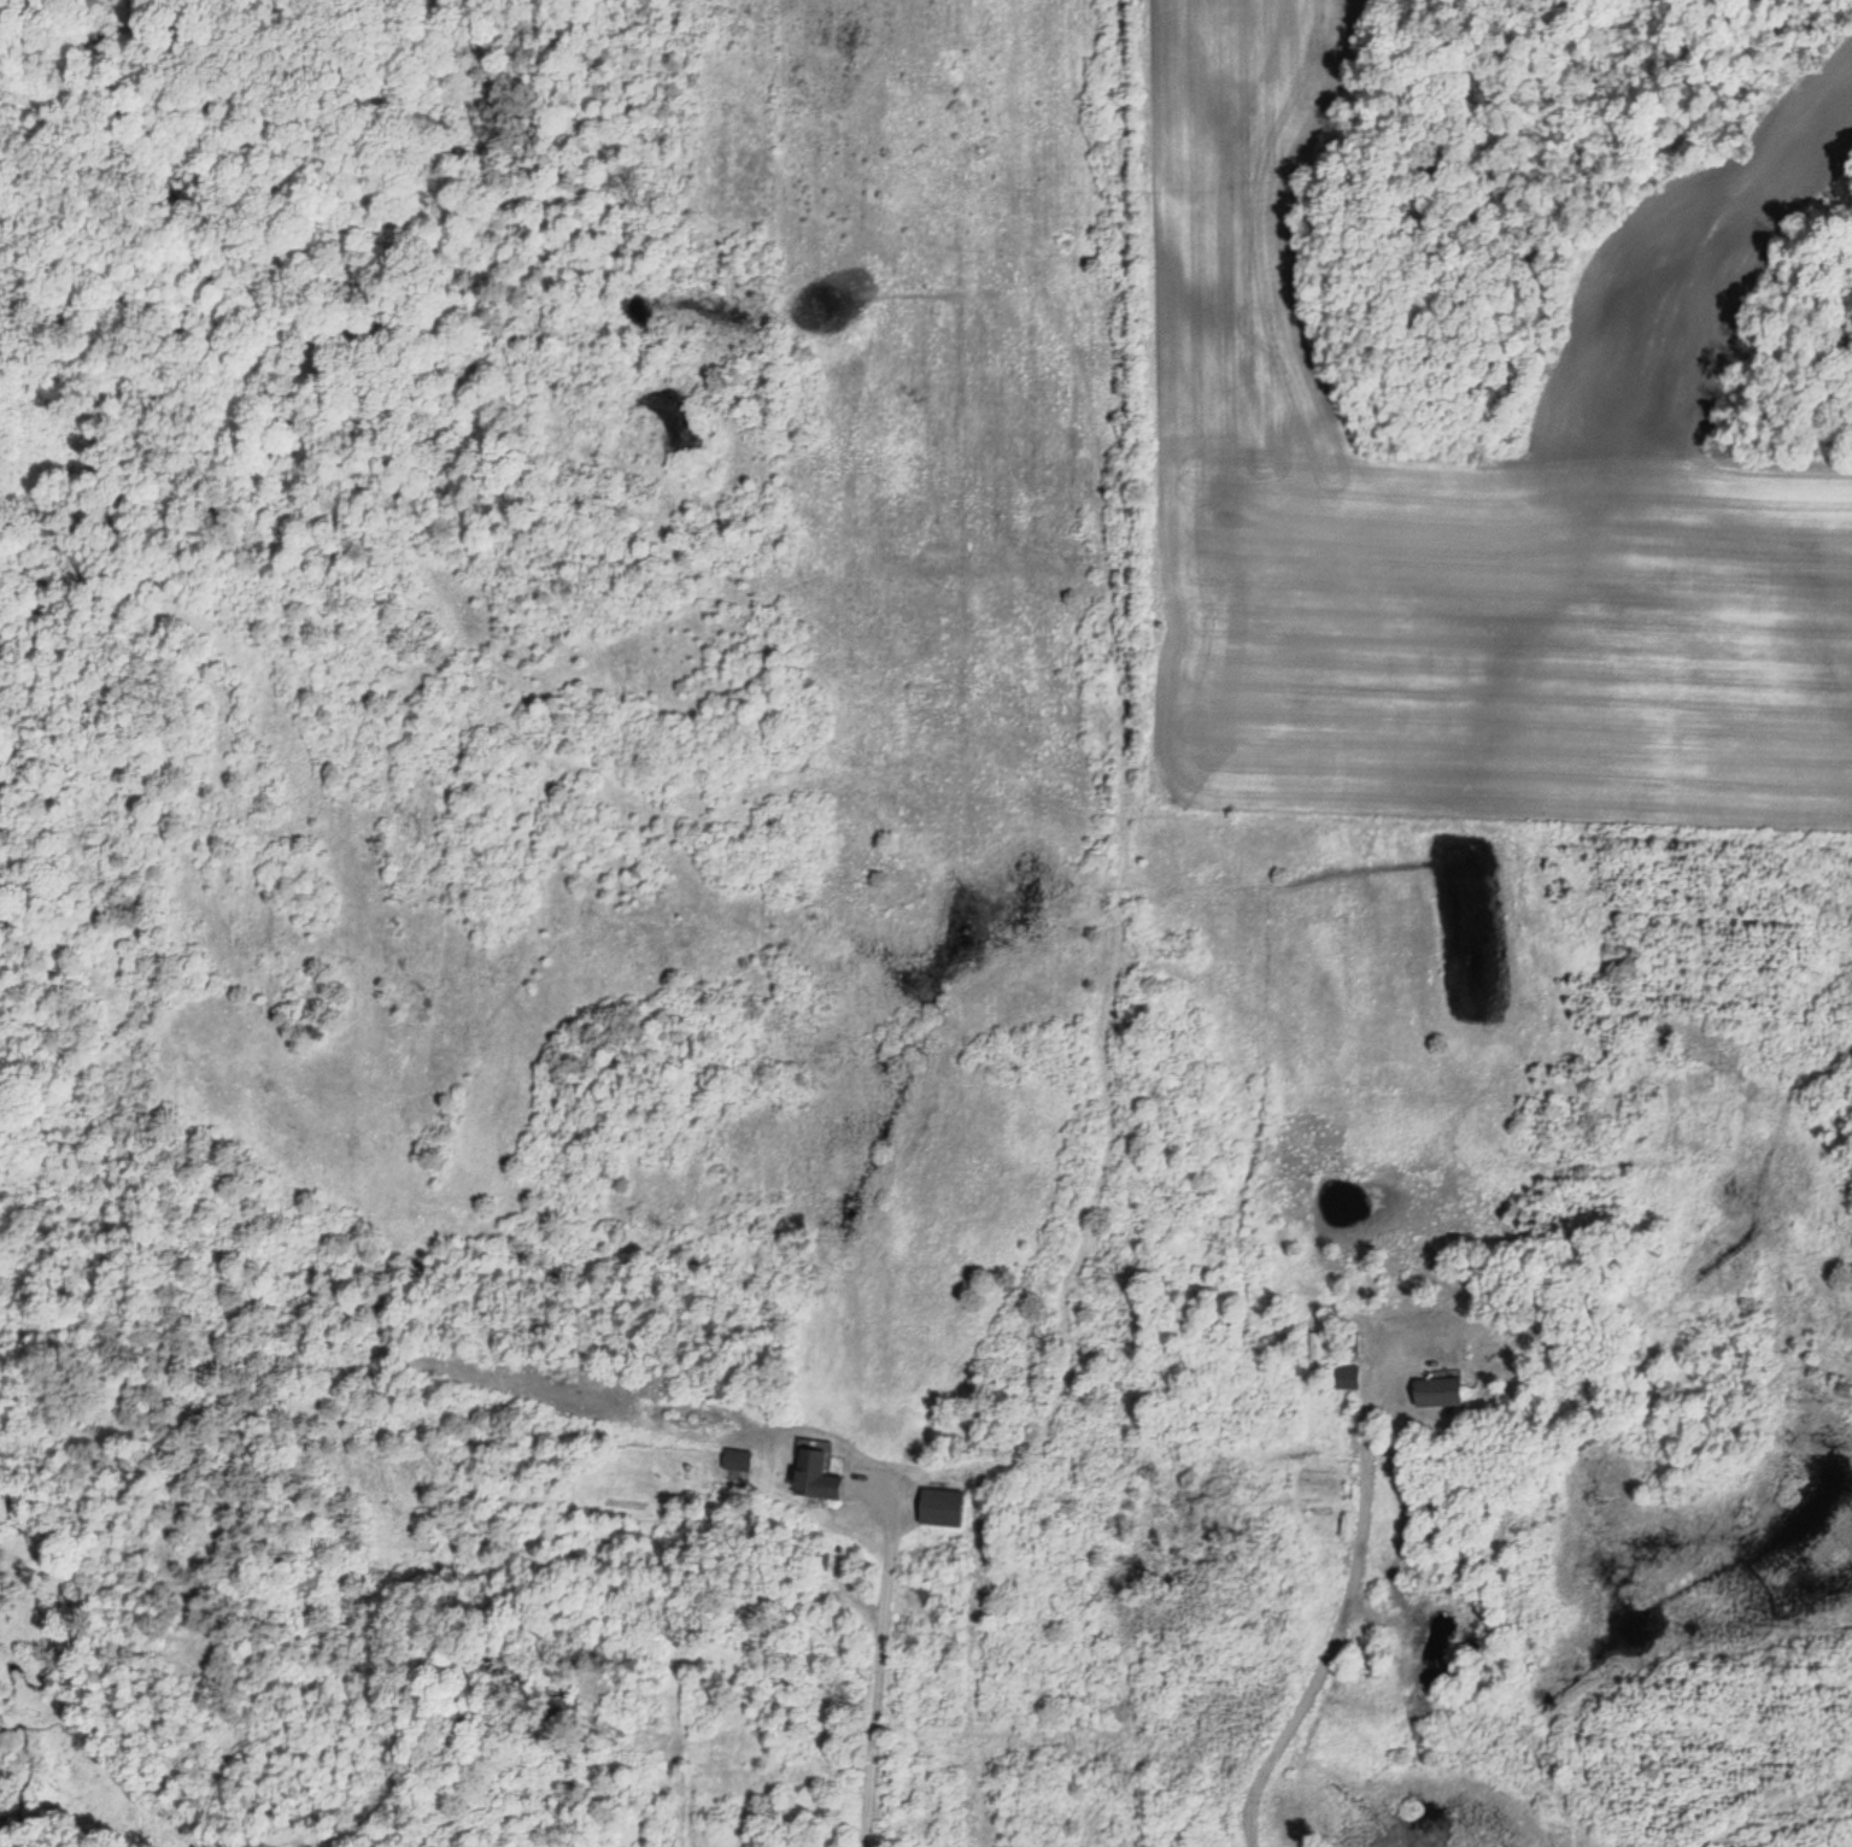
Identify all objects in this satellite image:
building: (1315, 1347)
building: (1347, 1378)
building: (1437, 1392)
building: (737, 1461)
building: (814, 1477)
building: (942, 1509)

